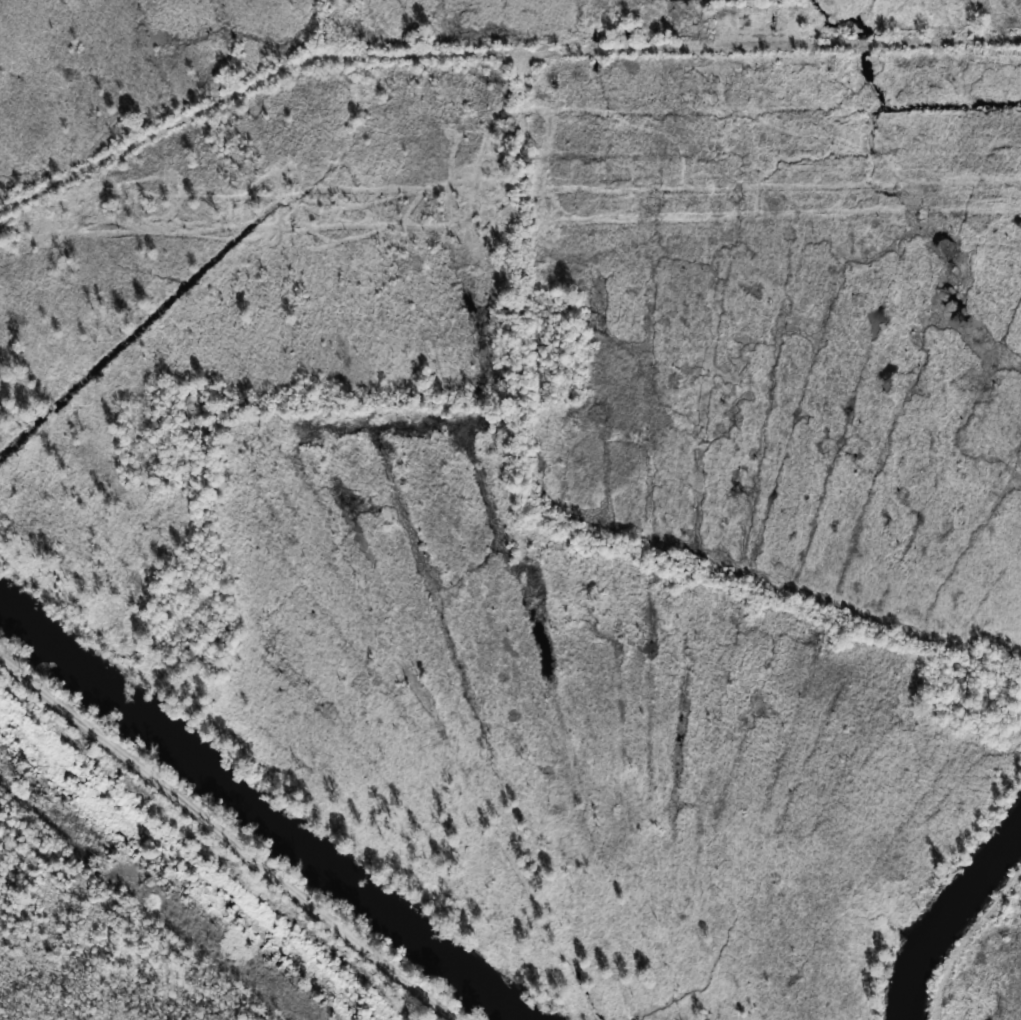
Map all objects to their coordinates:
road: (235, 833)
road: (969, 943)

